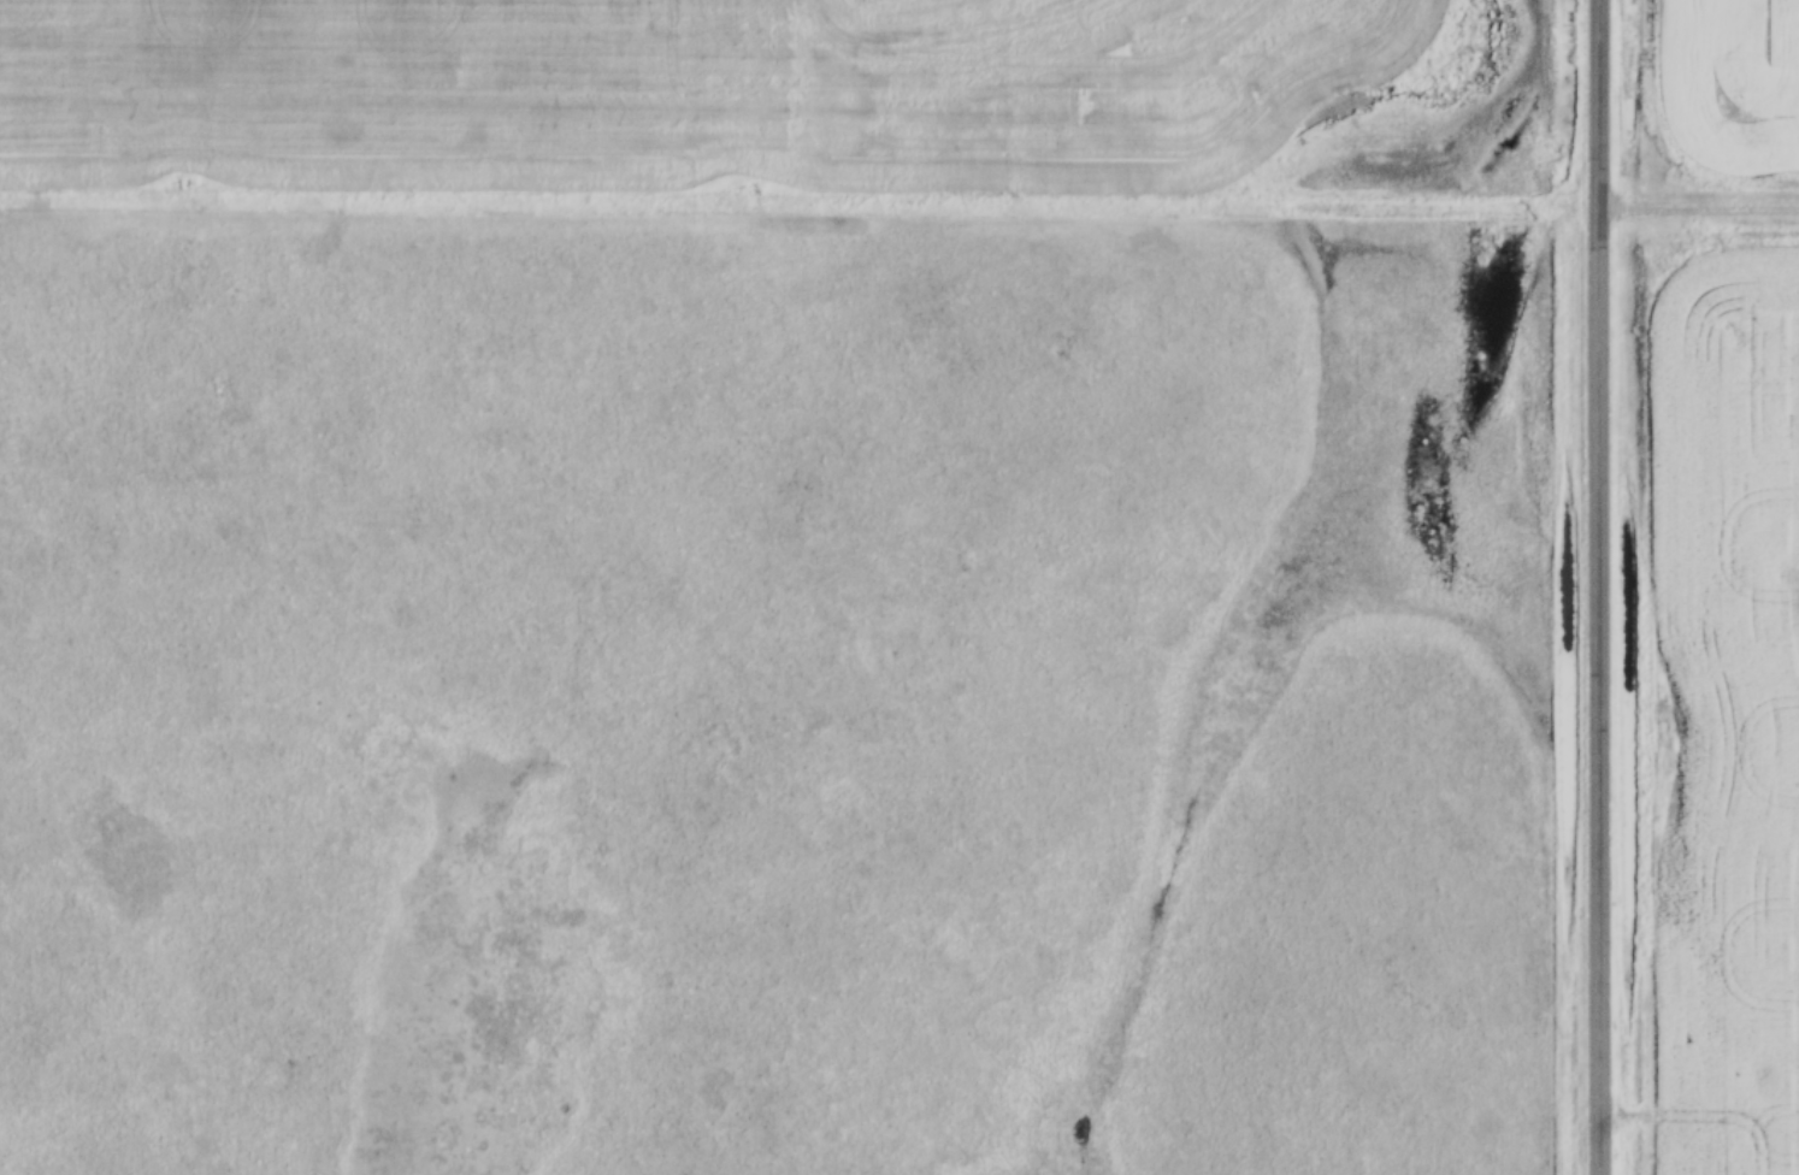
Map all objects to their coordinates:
road: (1699, 212)
road: (1602, 586)

